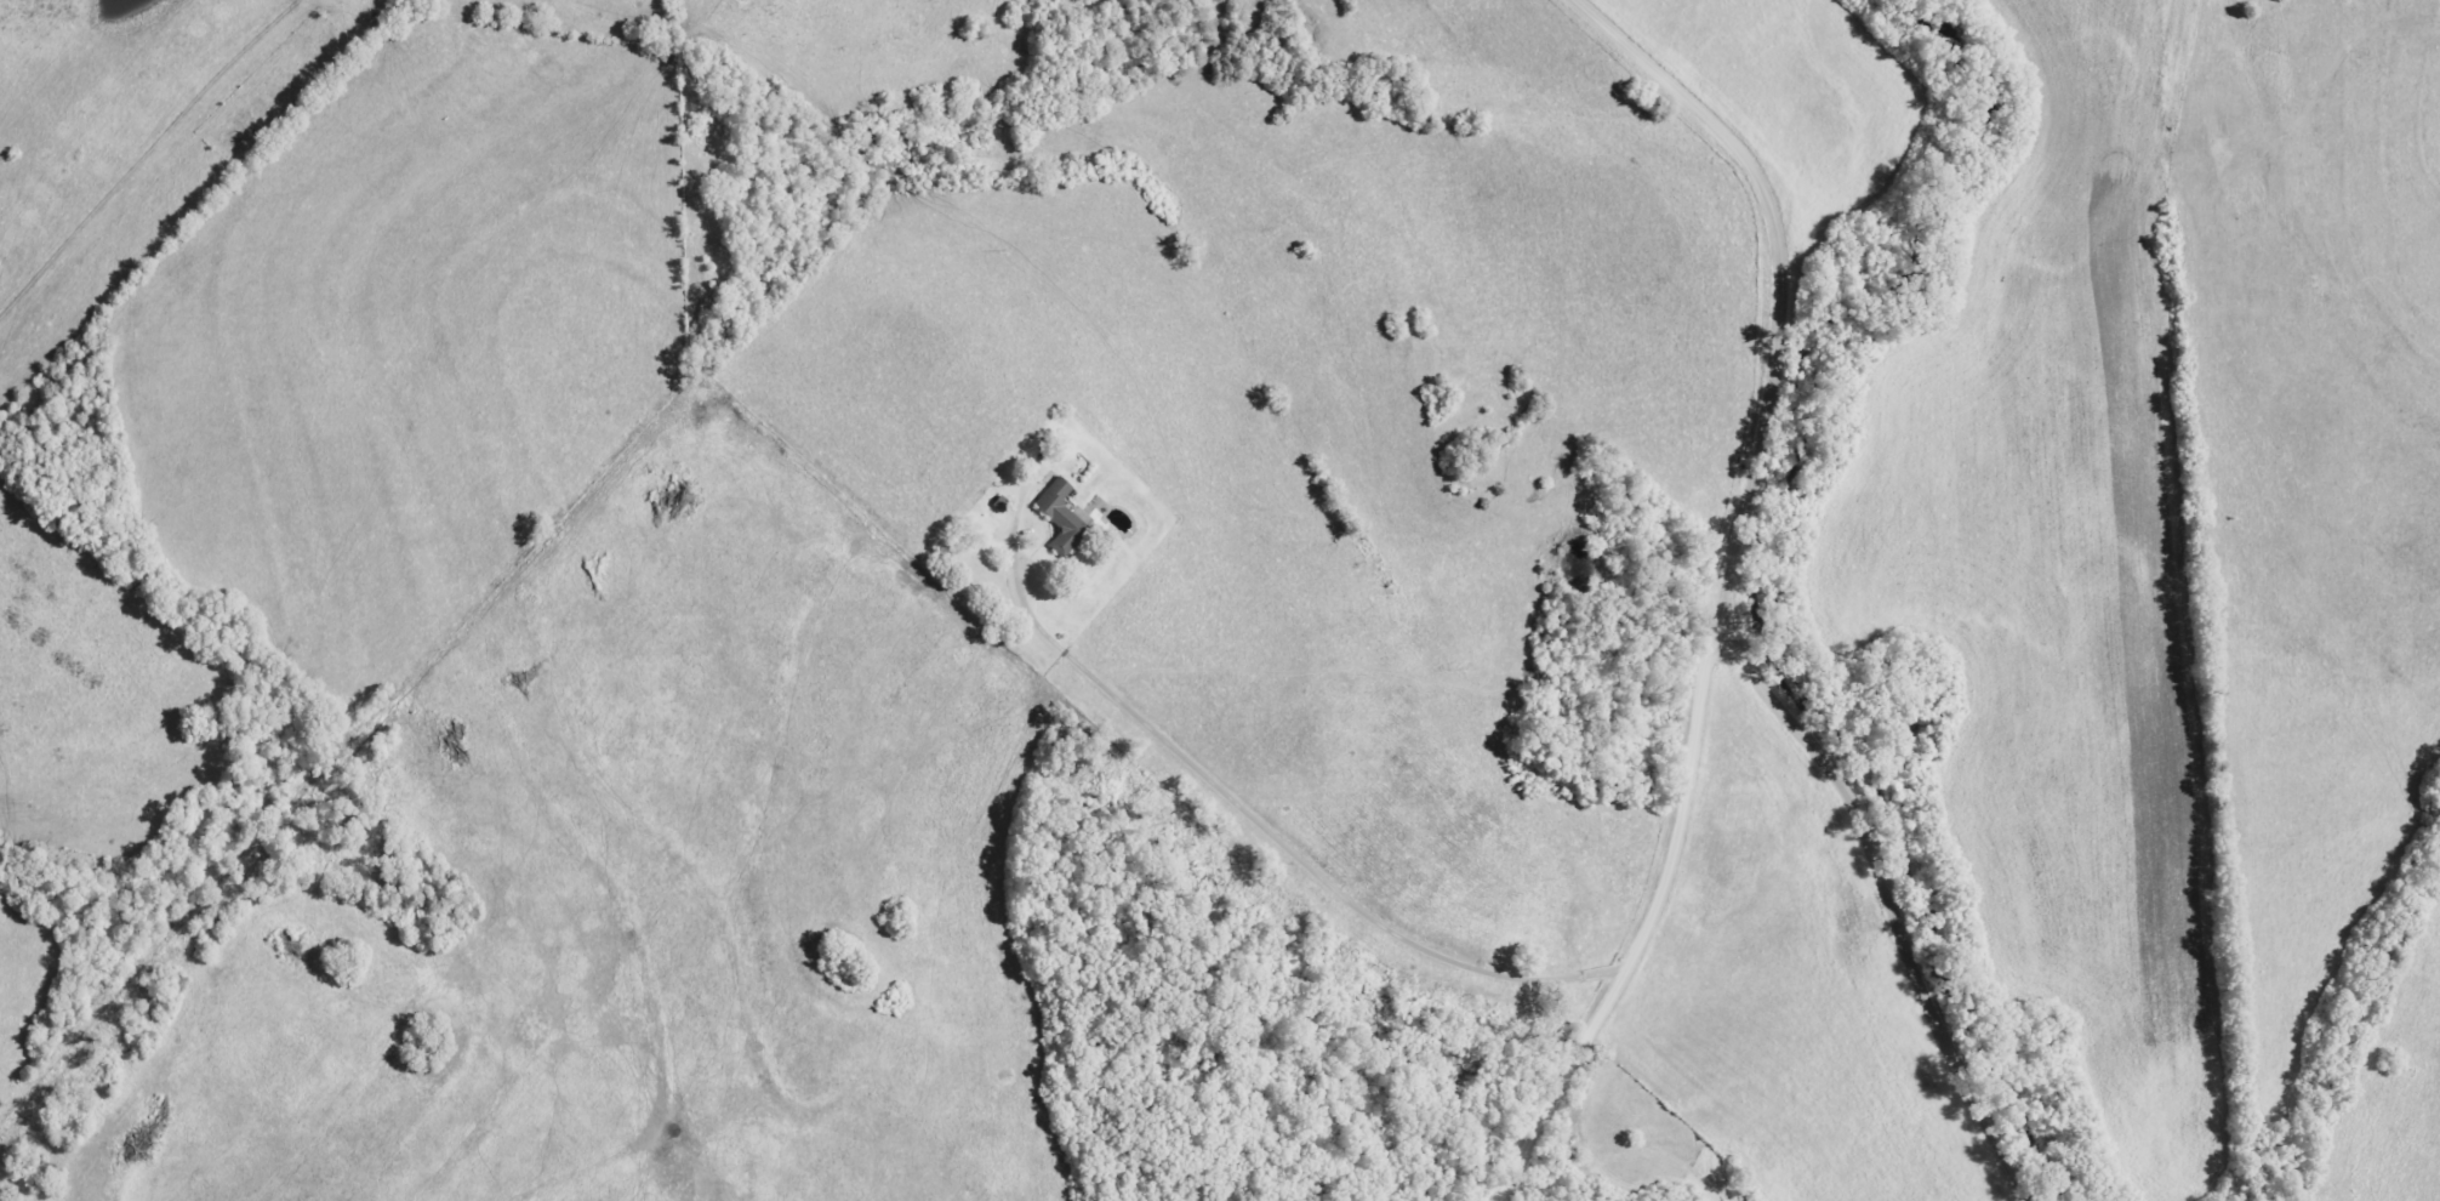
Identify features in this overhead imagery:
building: (1059, 517)
road: (1731, 594)
road: (1661, 901)

